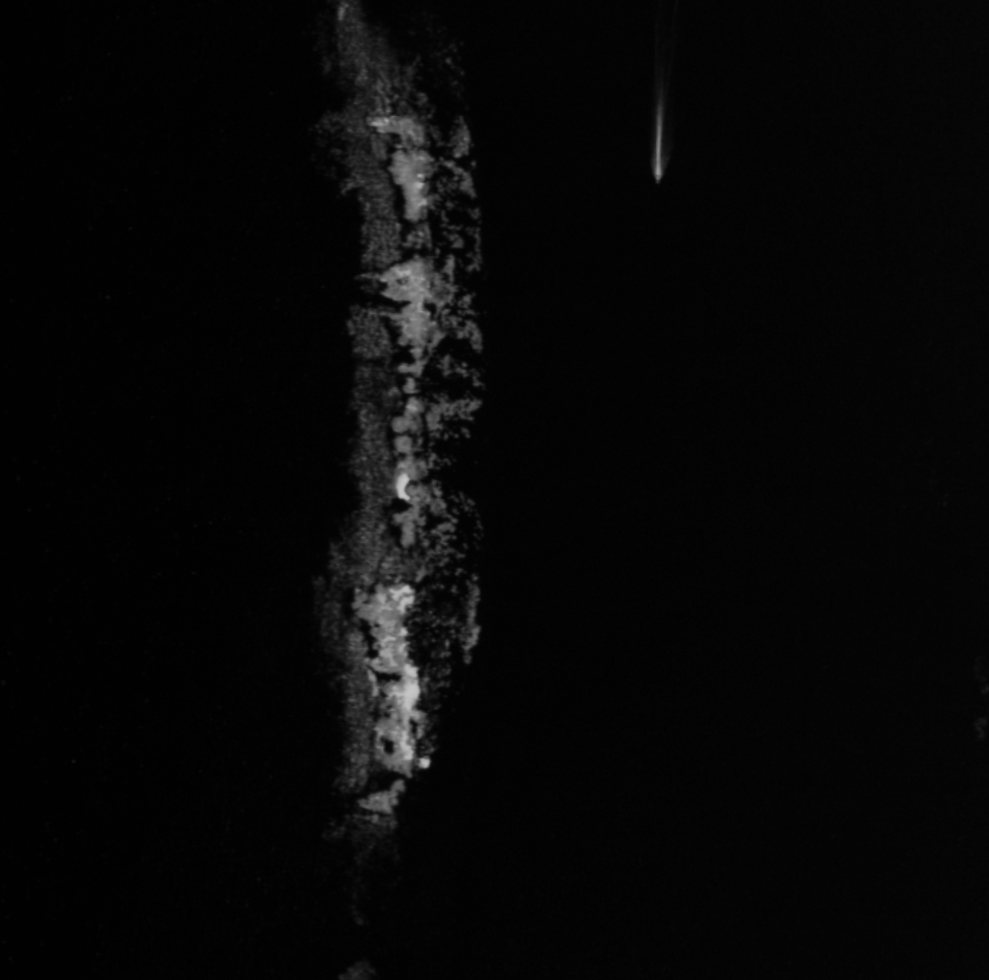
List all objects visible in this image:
river: (669, 491)
river: (681, 854)

